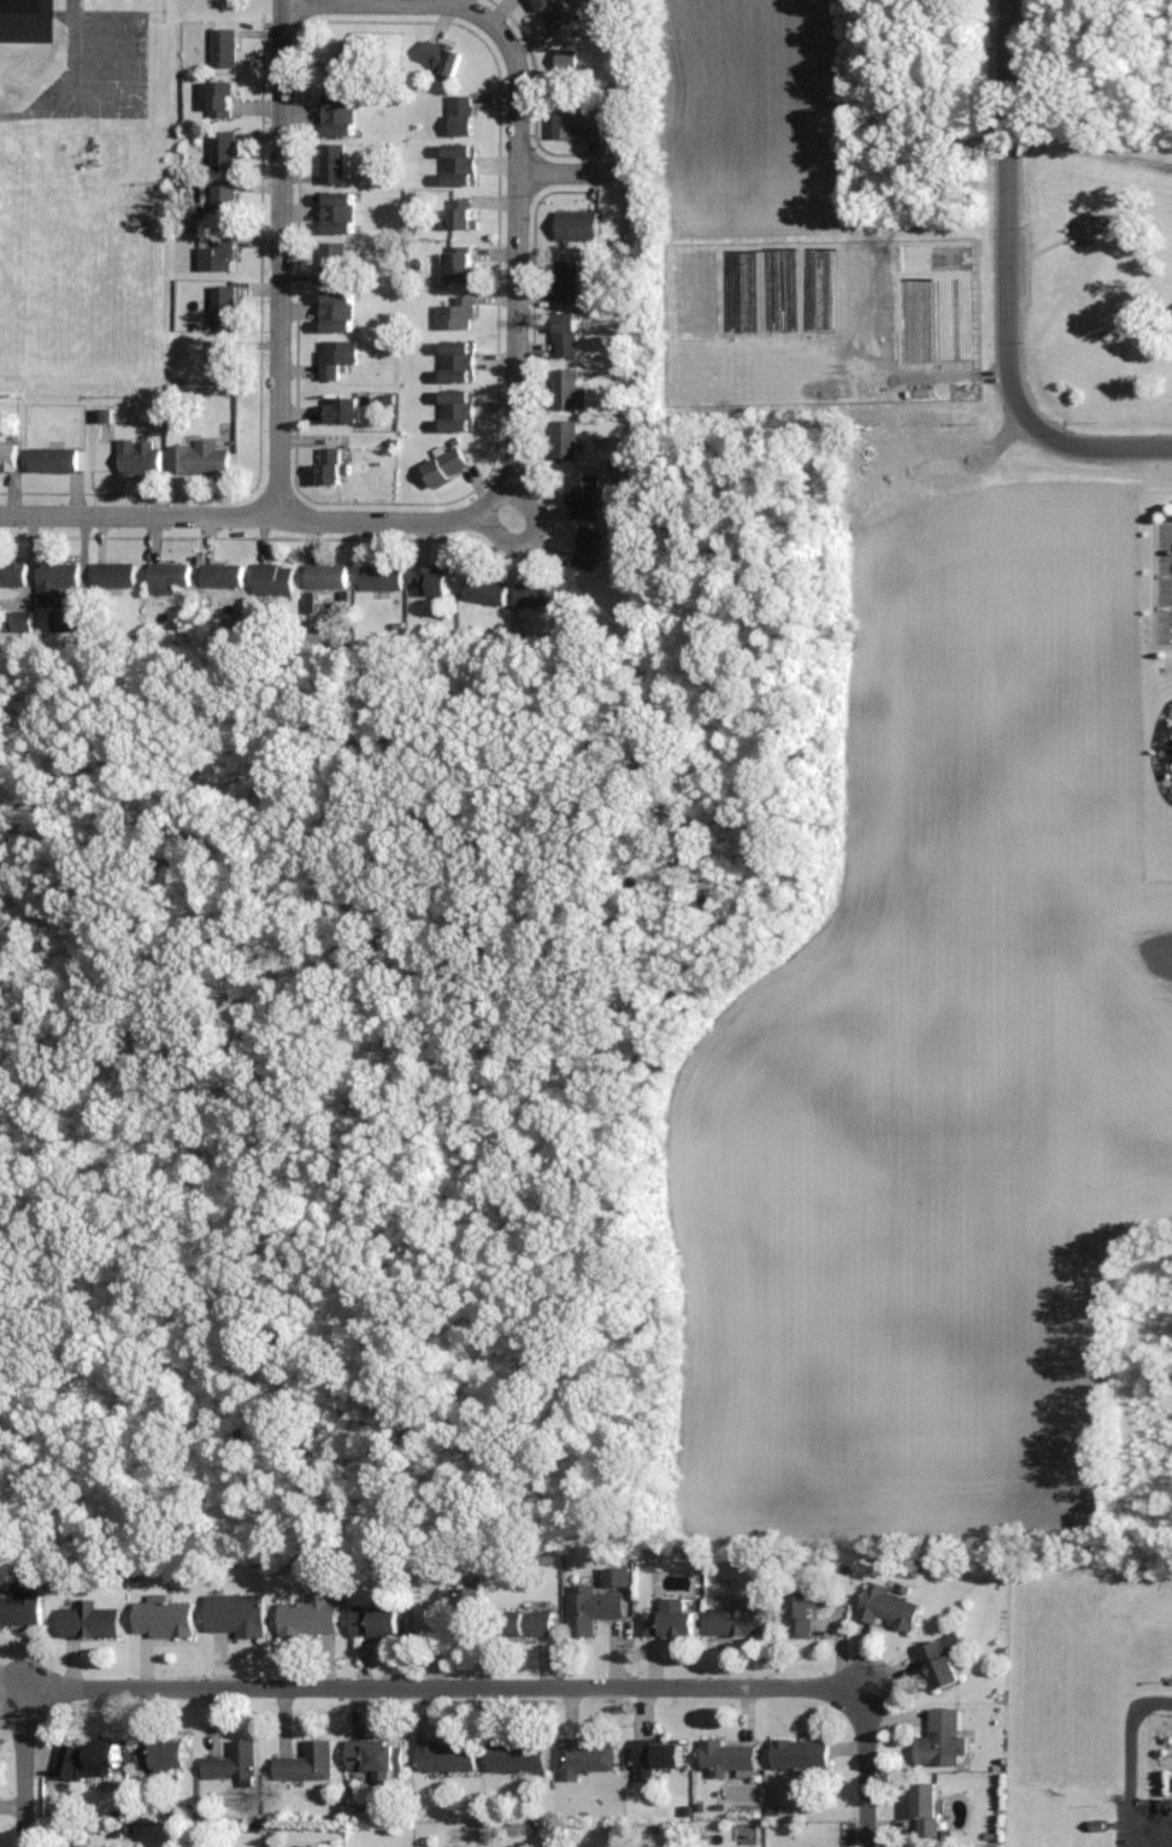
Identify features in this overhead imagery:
building: (556, 13)
building: (23, 22)
building: (225, 48)
building: (442, 58)
building: (569, 60)
building: (347, 63)
building: (224, 100)
building: (341, 116)
building: (464, 117)
building: (579, 125)
building: (225, 152)
building: (335, 165)
building: (461, 165)
road: (520, 167)
road: (573, 171)
building: (225, 204)
building: (340, 214)
building: (463, 216)
building: (578, 225)
building: (219, 257)
road: (281, 258)
building: (334, 263)
building: (464, 266)
building: (567, 281)
road: (1007, 288)
building: (225, 307)
building: (338, 312)
building: (459, 316)
building: (567, 334)
building: (337, 358)
building: (224, 360)
building: (460, 361)
building: (570, 392)
building: (342, 411)
building: (460, 411)
building: (565, 441)
building: (7, 457)
building: (140, 457)
building: (200, 458)
building: (55, 460)
building: (332, 466)
building: (447, 467)
building: (585, 498)
road: (264, 516)
road: (534, 535)
building: (589, 549)
building: (12, 575)
building: (116, 575)
building: (224, 576)
building: (171, 577)
building: (328, 577)
building: (383, 580)
building: (275, 581)
building: (58, 583)
building: (432, 583)
building: (488, 592)
building: (538, 595)
building: (65, 622)
building: (22, 1607)
building: (467, 1608)
building: (593, 1608)
building: (806, 1608)
building: (890, 1608)
building: (236, 1614)
building: (311, 1617)
building: (165, 1618)
building: (672, 1618)
building: (743, 1619)
building: (89, 1620)
building: (381, 1620)
building: (526, 1623)
building: (943, 1661)
road: (454, 1687)
building: (942, 1739)
building: (801, 1754)
building: (163, 1755)
building: (519, 1755)
building: (376, 1757)
building: (448, 1757)
building: (587, 1757)
building: (656, 1757)
building: (729, 1757)
building: (88, 1759)
building: (234, 1763)
building: (308, 1763)
road: (22, 1765)
road: (868, 1777)
building: (927, 1810)
road: (1159, 1845)

